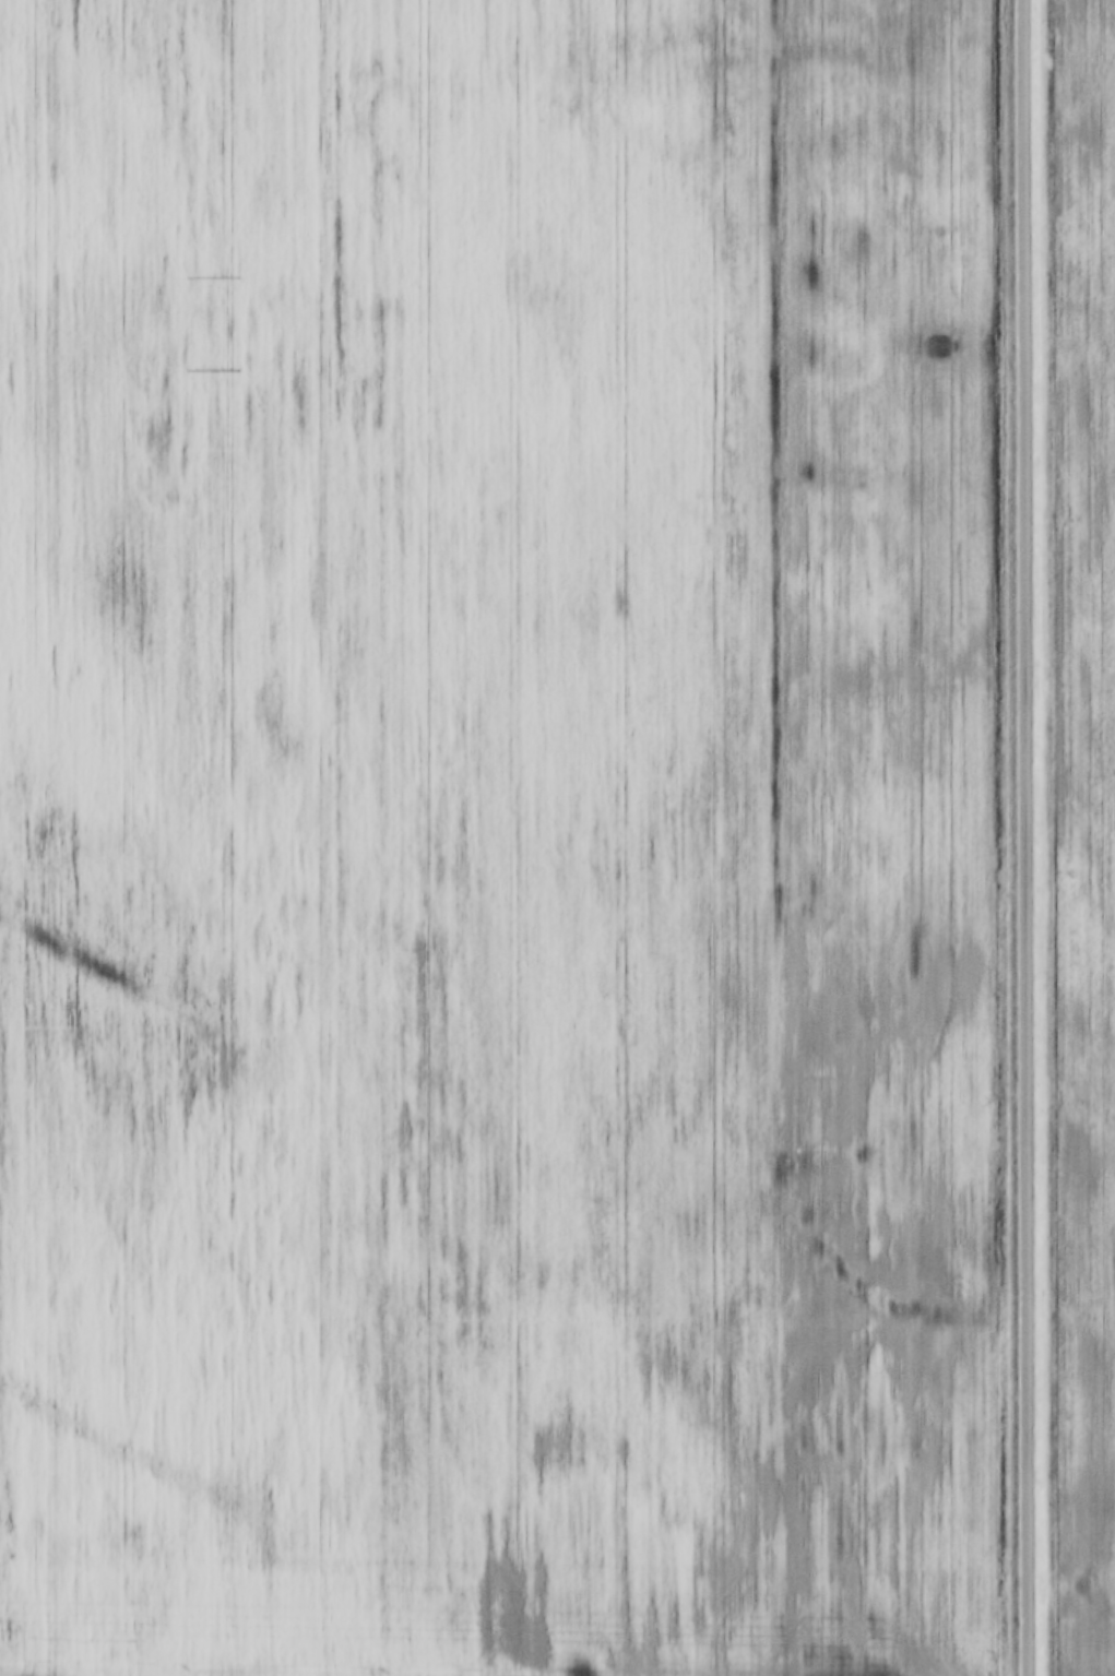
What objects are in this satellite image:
road: (1024, 837)

